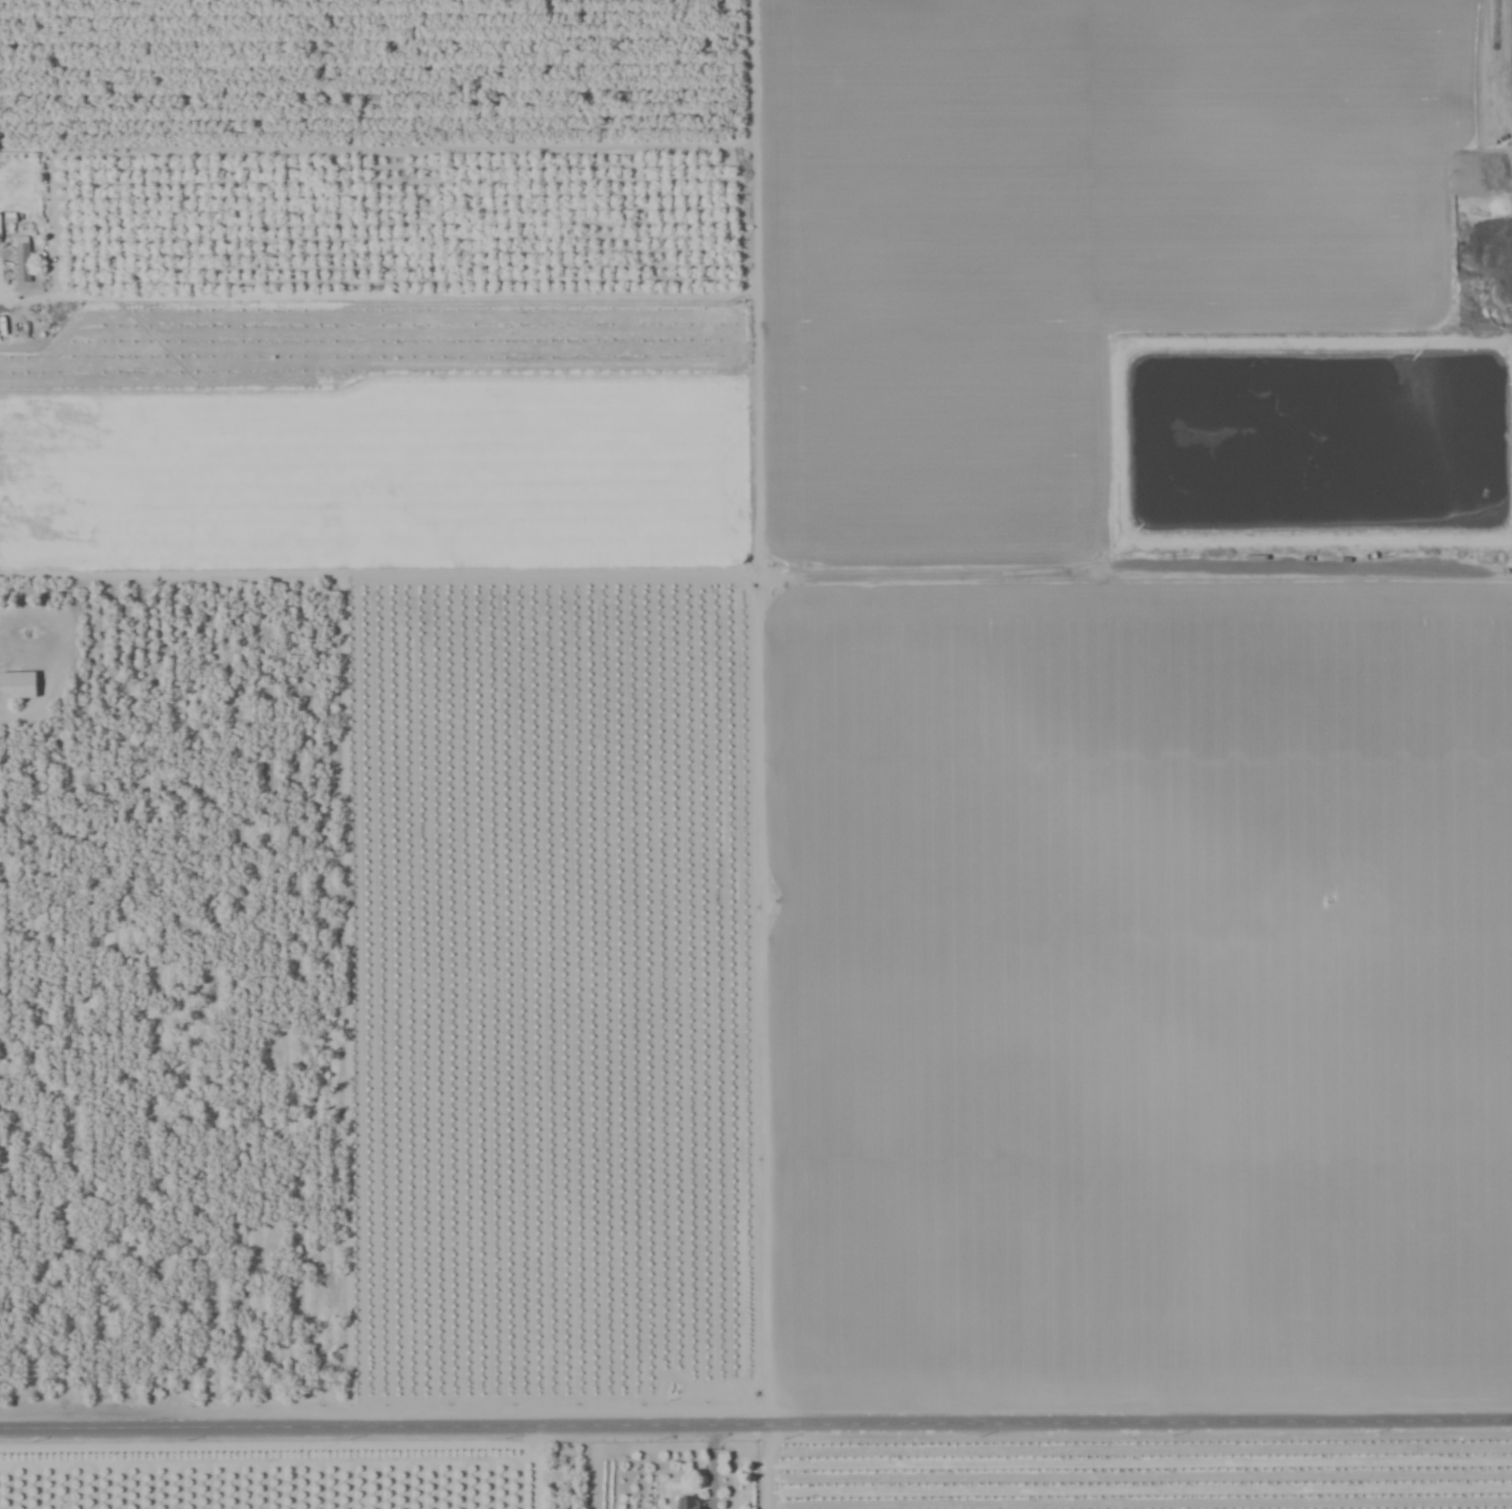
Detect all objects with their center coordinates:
building: (22, 259)
building: (17, 686)
road: (756, 1425)
building: (687, 1503)

